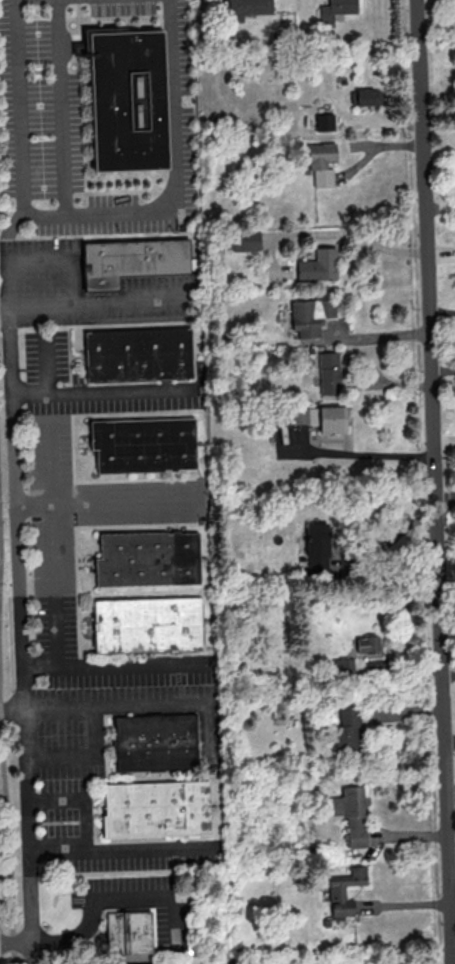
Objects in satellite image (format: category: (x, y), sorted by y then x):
building: (247, 8)
building: (334, 10)
building: (367, 96)
building: (129, 98)
road: (62, 108)
building: (323, 121)
building: (320, 162)
road: (91, 214)
building: (239, 240)
road: (372, 244)
road: (39, 258)
building: (133, 261)
building: (318, 265)
road: (98, 303)
building: (310, 316)
building: (141, 355)
road: (46, 366)
building: (328, 373)
road: (60, 395)
building: (318, 417)
building: (146, 445)
road: (15, 451)
road: (363, 453)
road: (51, 460)
road: (437, 481)
road: (17, 516)
road: (392, 536)
building: (317, 546)
road: (0, 549)
building: (147, 558)
road: (55, 586)
building: (149, 626)
building: (367, 644)
building: (342, 665)
road: (111, 668)
road: (127, 704)
building: (348, 730)
building: (157, 743)
road: (82, 752)
road: (25, 780)
road: (81, 799)
building: (158, 810)
building: (351, 813)
road: (9, 833)
road: (59, 850)
building: (345, 890)
road: (110, 900)
building: (131, 933)
road: (27, 952)

